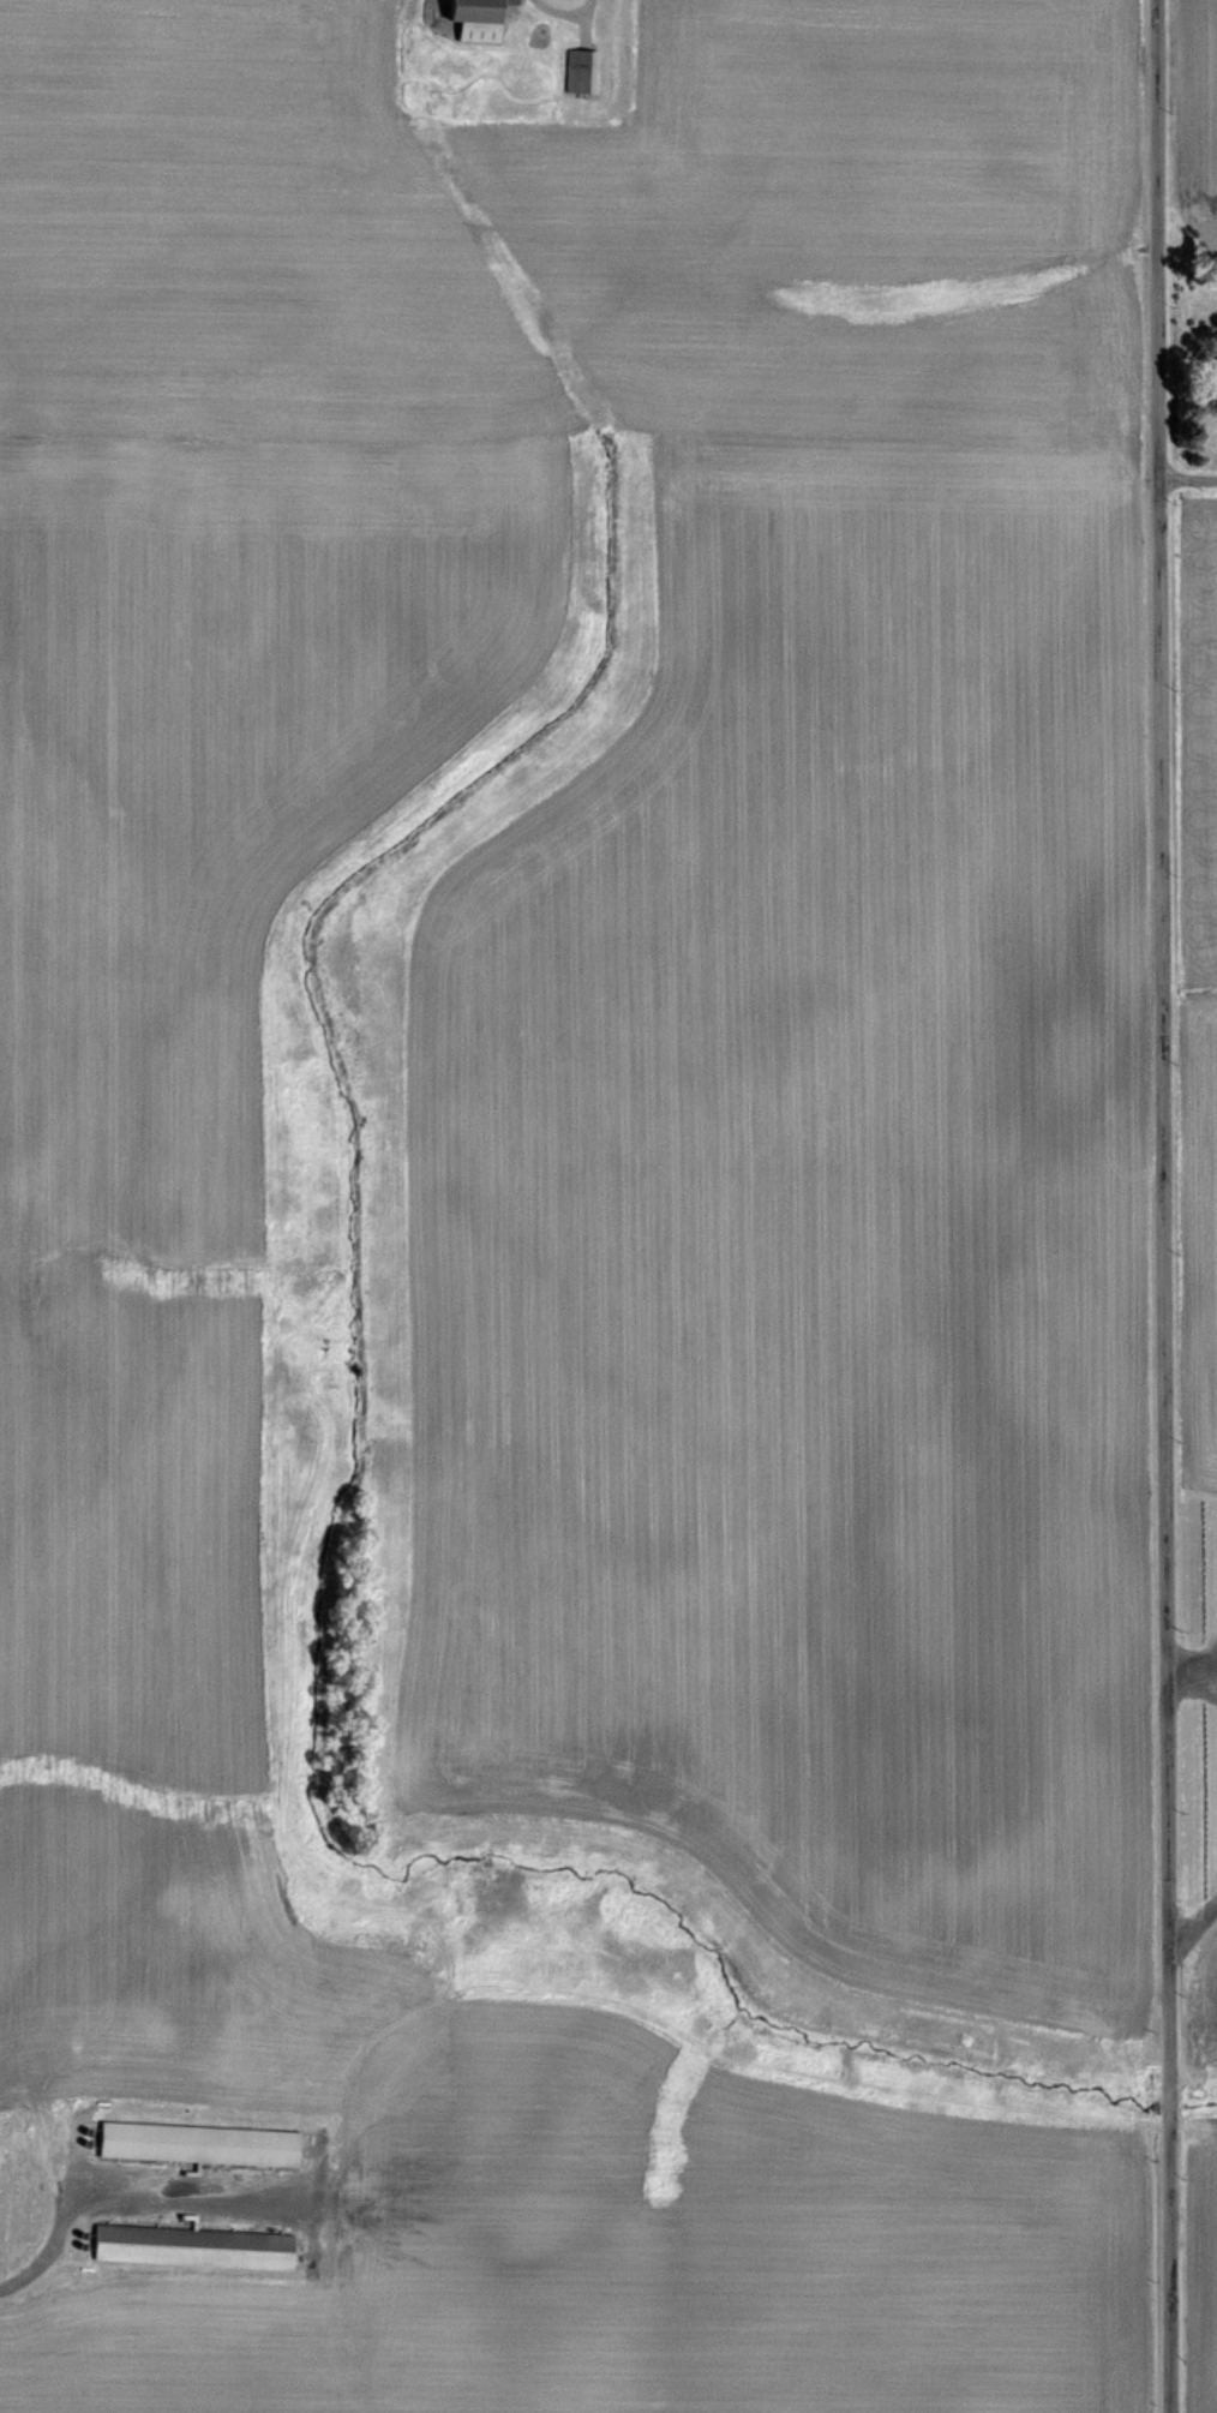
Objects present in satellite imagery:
building: (470, 19)
building: (580, 72)
road: (1186, 477)
crop: (1198, 1132)
road: (1161, 1205)
crop: (590, 1208)
road: (1191, 1666)
road: (1193, 1915)
building: (193, 2145)
building: (188, 2247)
road: (40, 2259)

